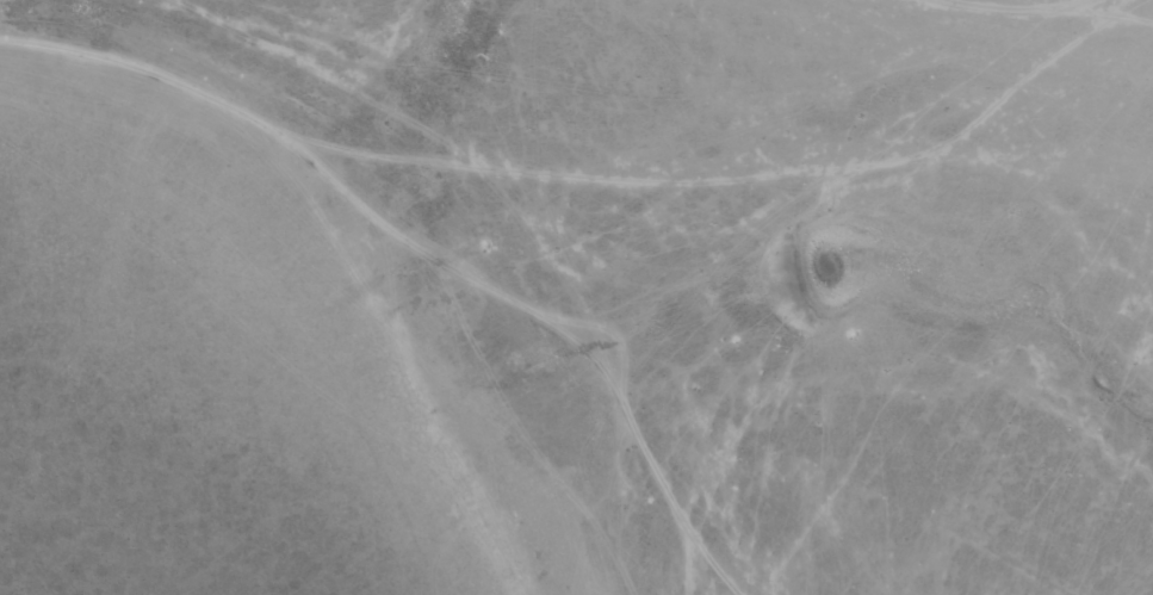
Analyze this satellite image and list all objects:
road: (682, 66)

